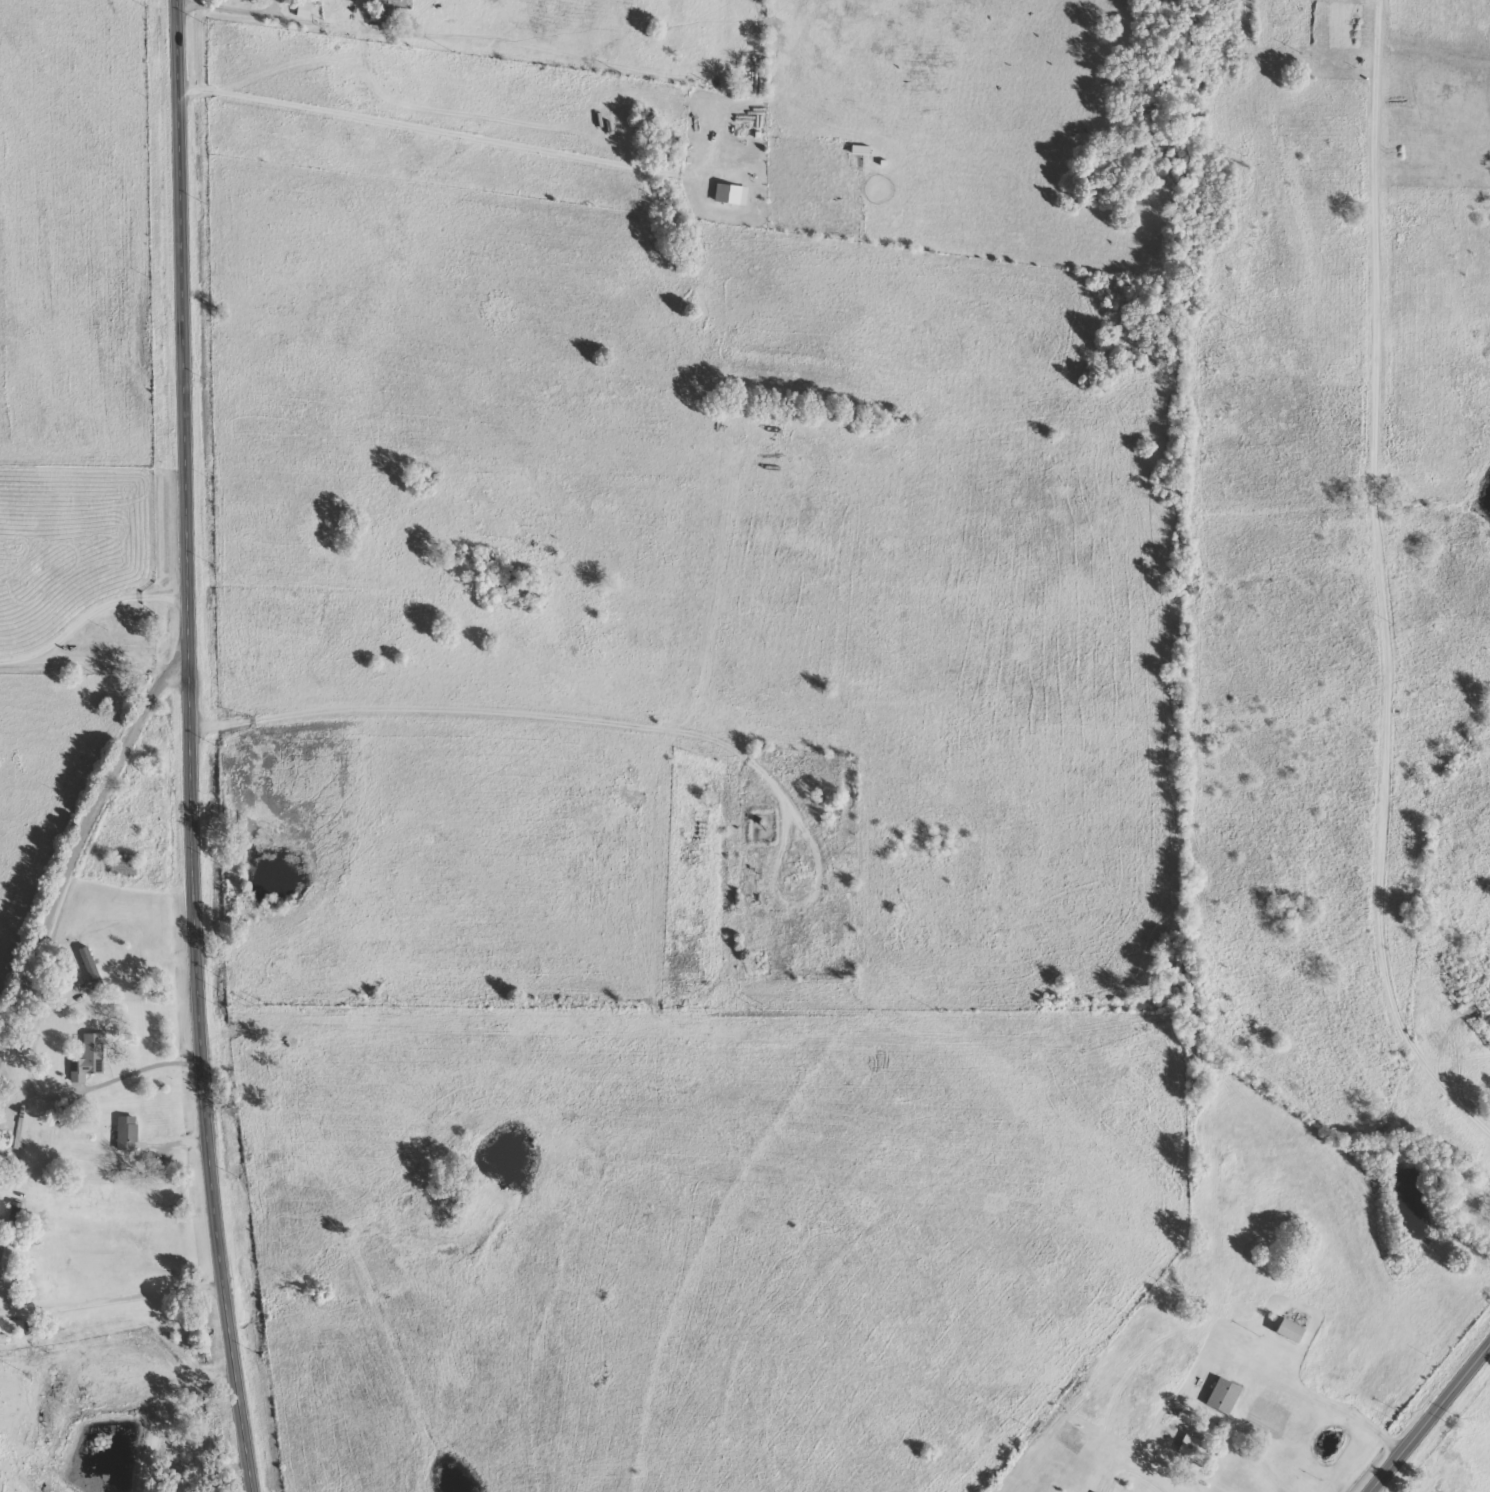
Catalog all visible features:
building: (394, 0)
building: (306, 12)
road: (494, 44)
building: (730, 195)
road: (191, 747)
road: (68, 851)
building: (93, 967)
building: (91, 1059)
building: (130, 1133)
building: (1, 1255)
building: (1293, 1331)
building: (4, 1339)
building: (1226, 1397)
road: (1429, 1417)

